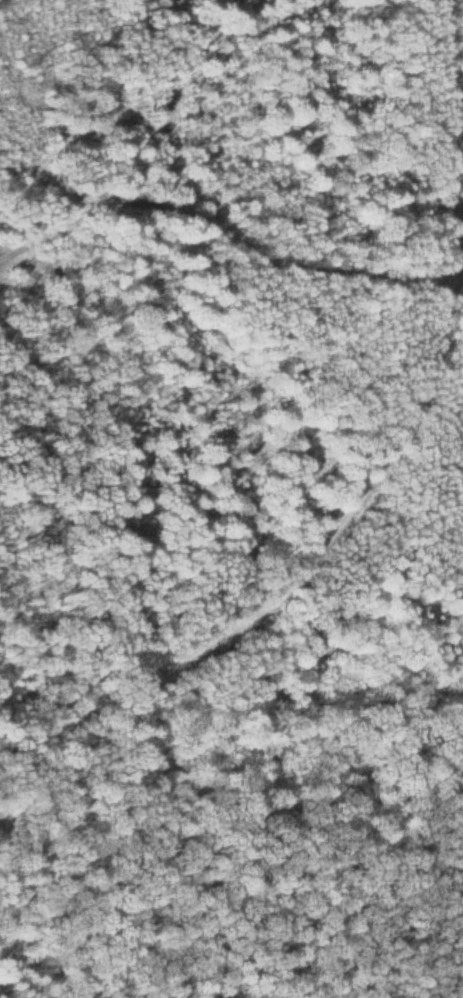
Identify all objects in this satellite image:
road: (381, 468)
road: (45, 644)

